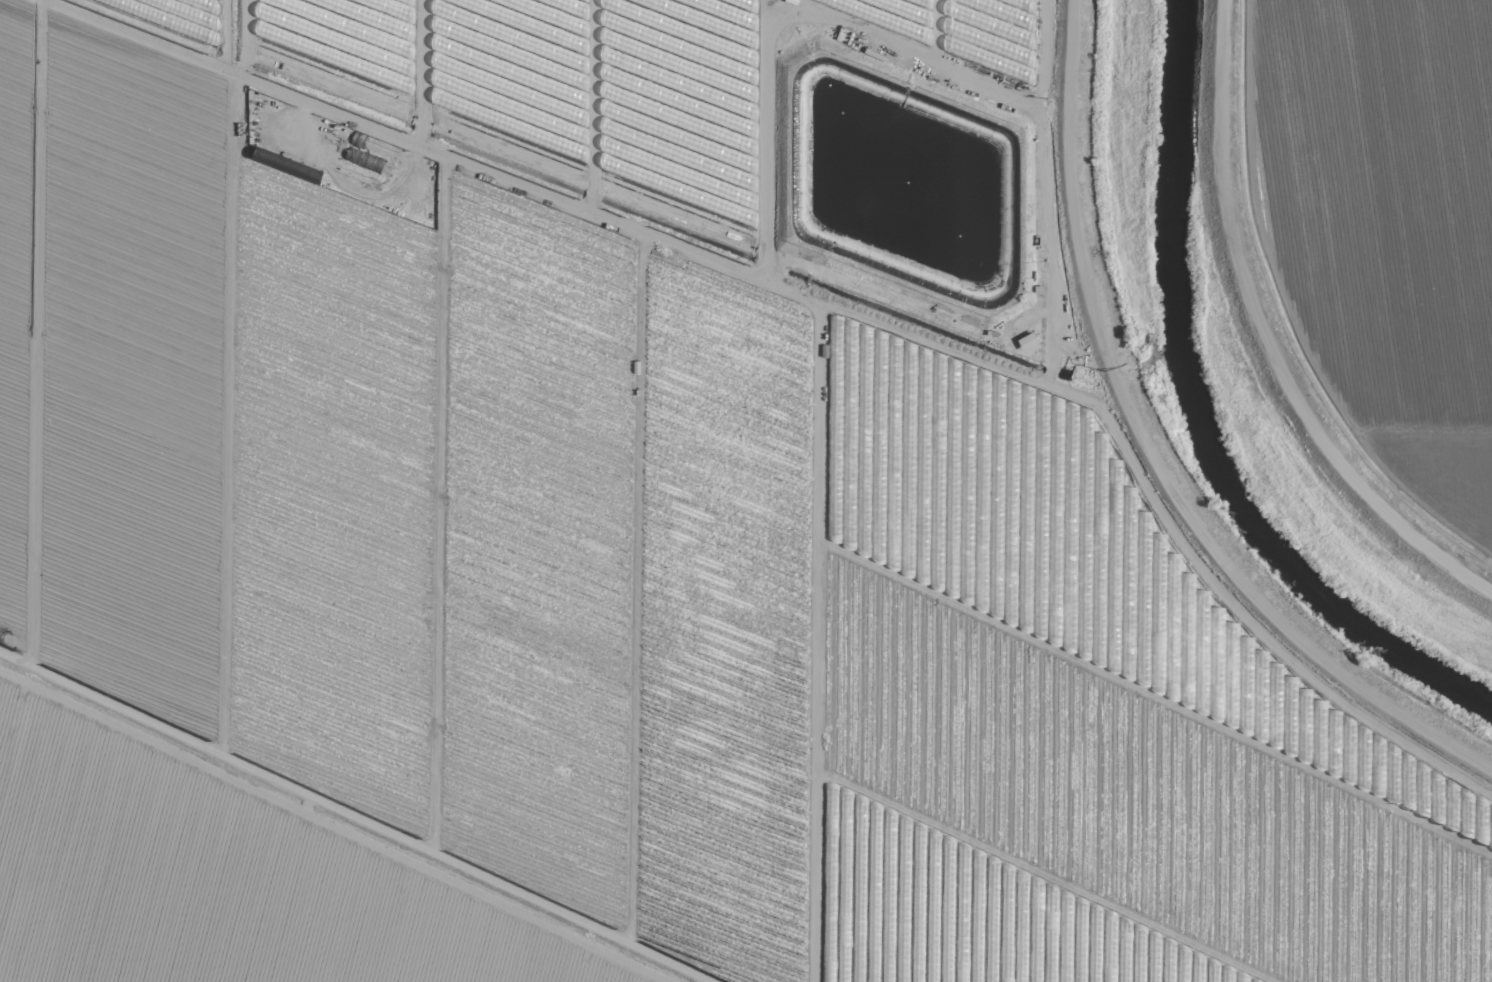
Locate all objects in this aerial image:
crop: (1368, 231)
building: (1027, 339)
road: (1150, 458)
crop: (616, 531)

